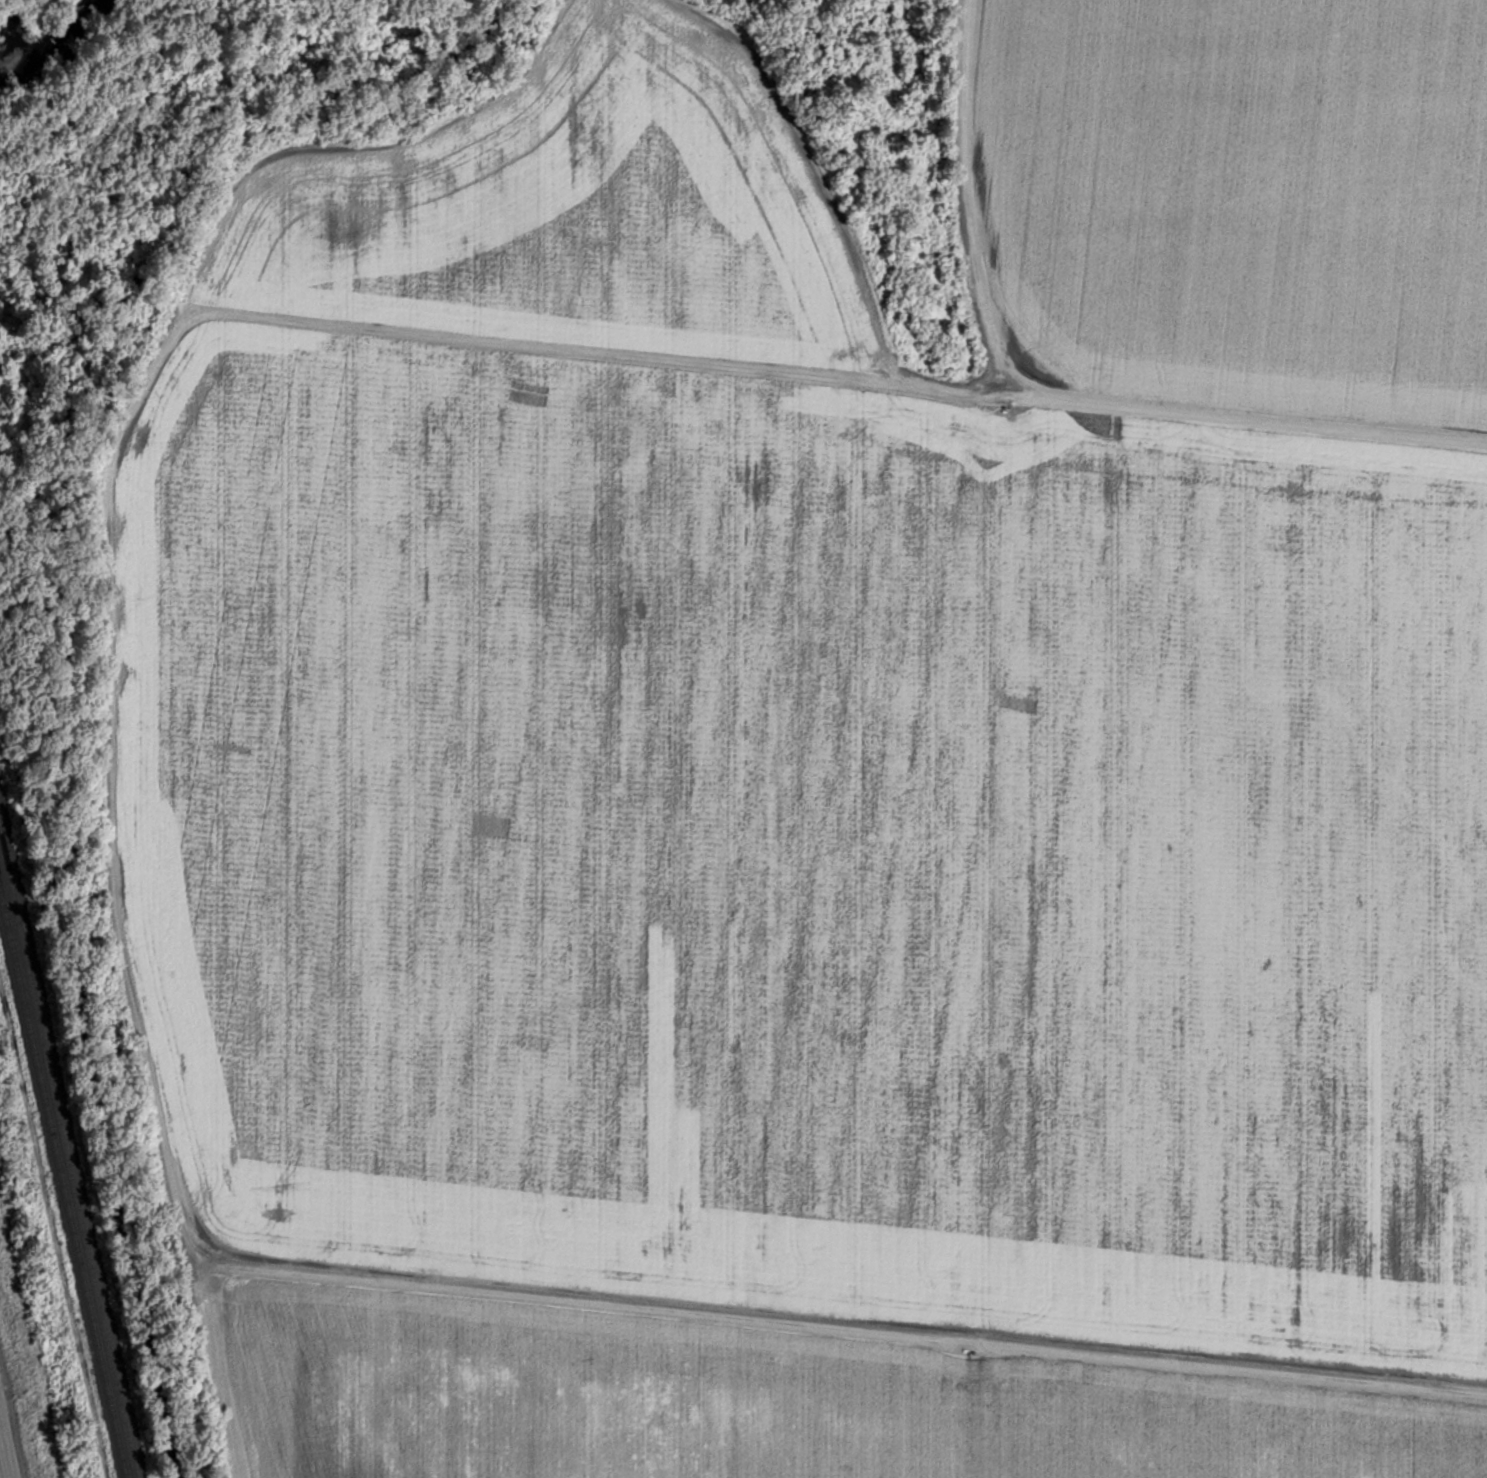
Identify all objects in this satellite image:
railway: (67, 1155)
railway: (64, 1181)
road: (5, 1453)

